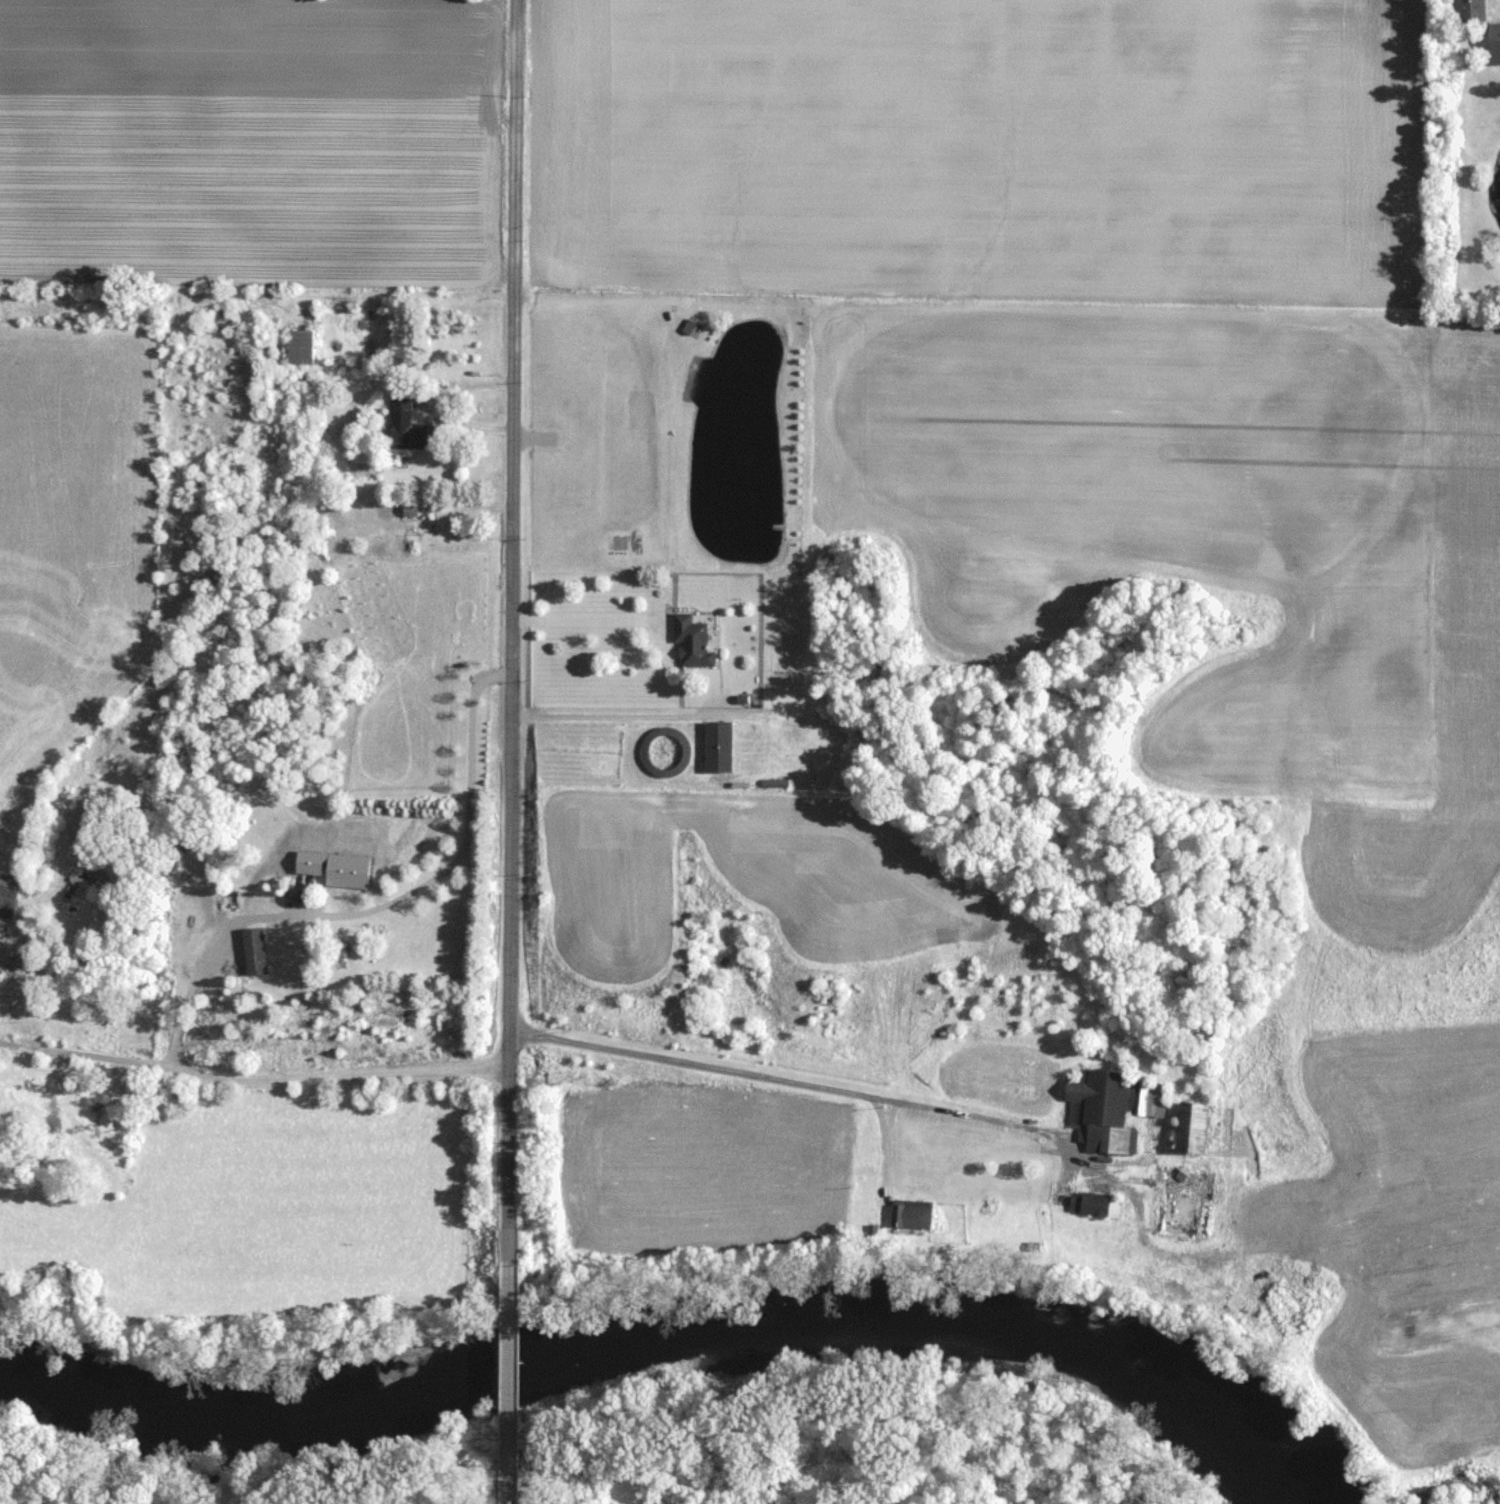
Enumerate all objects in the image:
building: (1491, 41)
building: (304, 346)
building: (416, 435)
building: (429, 525)
road: (582, 619)
road: (508, 632)
building: (689, 641)
road: (602, 716)
building: (717, 743)
building: (299, 873)
building: (8, 905)
road: (222, 937)
building: (257, 951)
road: (89, 1055)
road: (795, 1083)
building: (1130, 1094)
building: (1099, 1111)
building: (1185, 1129)
building: (1400, 1204)
building: (1178, 1213)
river: (679, 1328)
road: (506, 1355)
road: (506, 1474)

